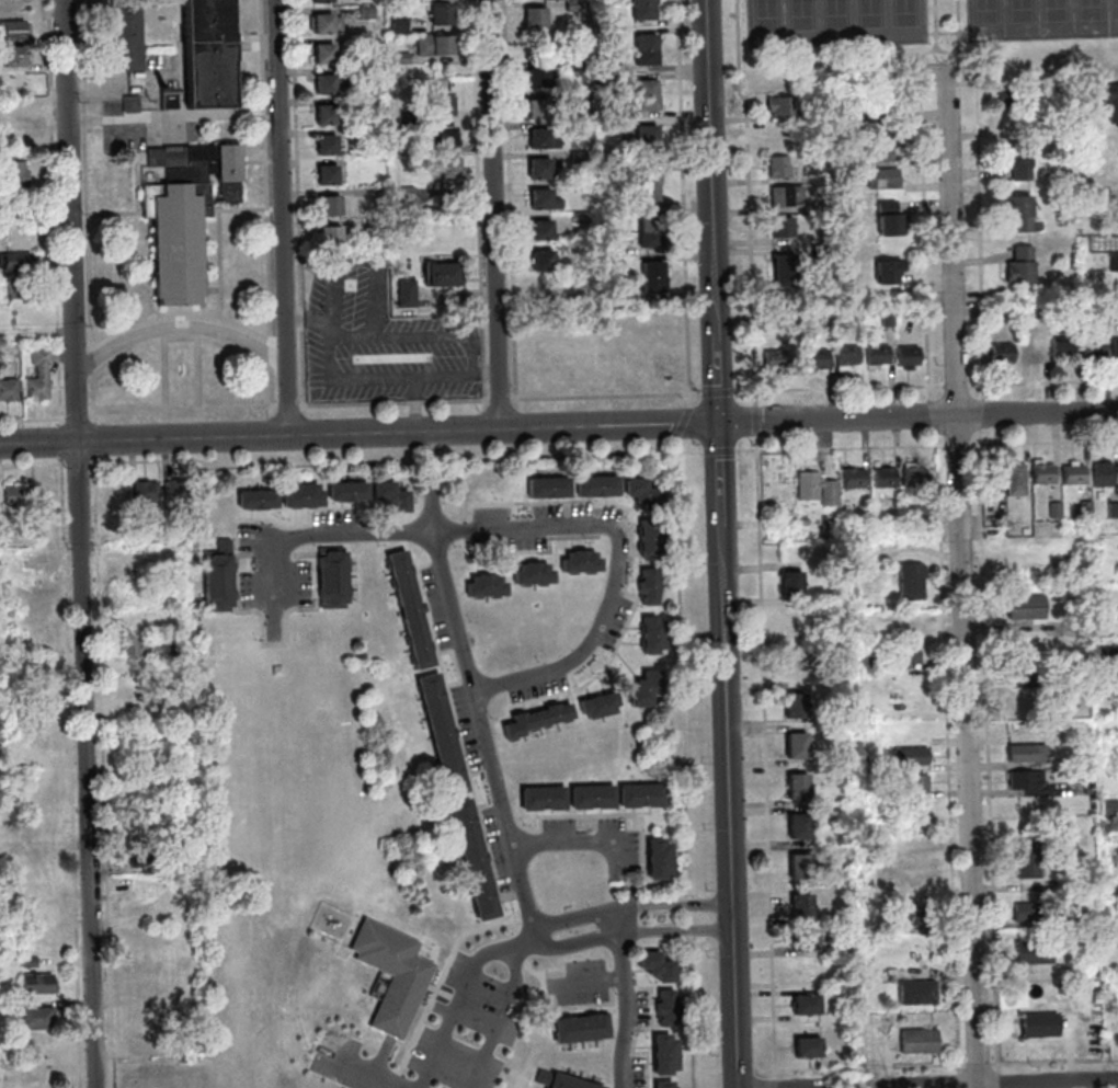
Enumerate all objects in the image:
building: (324, 2)
building: (646, 2)
building: (575, 7)
building: (369, 13)
building: (647, 13)
building: (444, 15)
building: (537, 18)
park: (1040, 19)
park: (833, 23)
building: (329, 25)
building: (401, 25)
building: (389, 30)
building: (15, 31)
road: (945, 32)
building: (127, 41)
park: (927, 41)
building: (369, 43)
building: (648, 43)
building: (437, 47)
road: (946, 50)
building: (212, 55)
building: (327, 55)
building: (16, 58)
building: (649, 58)
building: (403, 59)
building: (578, 66)
building: (609, 67)
road: (948, 73)
building: (372, 75)
parking lot: (948, 75)
building: (543, 80)
building: (612, 81)
building: (331, 84)
road: (947, 85)
building: (649, 89)
chimney: (168, 93)
building: (579, 96)
building: (1012, 99)
building: (172, 102)
building: (887, 102)
building: (1114, 102)
building: (374, 103)
building: (133, 104)
building: (650, 104)
building: (785, 106)
building: (445, 107)
building: (543, 111)
building: (613, 112)
building: (329, 116)
road: (212, 118)
building: (856, 119)
road: (129, 121)
building: (408, 121)
building: (613, 126)
building: (578, 128)
building: (649, 135)
building: (447, 138)
building: (544, 140)
building: (330, 146)
road: (714, 146)
building: (649, 149)
building: (890, 152)
building: (581, 158)
building: (613, 158)
building: (1020, 162)
building: (782, 168)
building: (453, 169)
building: (541, 170)
building: (194, 174)
building: (330, 176)
building: (18, 179)
building: (886, 179)
building: (649, 180)
building: (650, 195)
building: (789, 195)
building: (408, 197)
road: (480, 201)
road: (512, 201)
building: (546, 201)
road: (751, 202)
road: (299, 203)
road: (685, 204)
road: (269, 208)
building: (332, 208)
building: (823, 208)
road: (89, 213)
road: (56, 214)
building: (1022, 214)
road: (495, 215)
road: (284, 217)
road: (978, 217)
building: (582, 218)
road: (923, 219)
building: (890, 220)
building: (651, 226)
building: (376, 227)
building: (784, 228)
building: (4, 231)
building: (544, 231)
building: (333, 238)
building: (652, 241)
building: (181, 248)
building: (824, 252)
building: (545, 262)
building: (20, 263)
building: (1116, 264)
building: (1023, 267)
building: (655, 271)
building: (786, 273)
building: (890, 273)
building: (446, 276)
road: (379, 279)
building: (544, 286)
building: (16, 287)
building: (655, 287)
building: (410, 295)
building: (1107, 308)
building: (889, 318)
building: (830, 319)
road: (182, 328)
road: (353, 339)
parking lot: (381, 340)
building: (1095, 347)
building: (1031, 348)
building: (1064, 348)
building: (1116, 348)
building: (1004, 355)
building: (879, 357)
road: (719, 358)
building: (848, 358)
building: (910, 358)
building: (777, 360)
building: (819, 360)
building: (42, 377)
road: (396, 379)
road: (1042, 383)
road: (955, 385)
road: (840, 389)
building: (10, 391)
road: (720, 392)
road: (607, 397)
road: (501, 401)
road: (397, 403)
road: (290, 406)
road: (929, 409)
road: (185, 411)
road: (758, 414)
road: (982, 414)
road: (79, 417)
road: (33, 421)
traffic signals: (721, 423)
road: (685, 424)
road: (276, 426)
road: (558, 427)
road: (96, 440)
road: (64, 443)
road: (1045, 443)
road: (960, 446)
road: (843, 448)
road: (721, 453)
road: (574, 456)
road: (435, 460)
road: (80, 463)
road: (34, 465)
road: (260, 465)
building: (1045, 474)
building: (1076, 474)
building: (1105, 476)
building: (916, 477)
building: (778, 479)
building: (886, 479)
building: (856, 480)
building: (995, 482)
building: (1019, 482)
building: (609, 488)
building: (590, 489)
building: (540, 490)
building: (560, 490)
building: (819, 490)
building: (638, 491)
building: (387, 492)
building: (148, 493)
building: (342, 493)
building: (362, 493)
building: (180, 495)
building: (19, 496)
road: (722, 496)
building: (315, 497)
building: (297, 499)
building: (251, 502)
building: (271, 502)
building: (653, 502)
building: (403, 504)
building: (1088, 509)
building: (1058, 512)
building: (1115, 512)
building: (652, 532)
building: (1028, 532)
road: (323, 537)
road: (82, 543)
building: (1015, 546)
building: (652, 550)
building: (592, 563)
building: (334, 564)
building: (573, 564)
road: (619, 564)
building: (526, 576)
building: (544, 576)
building: (221, 579)
road: (965, 580)
building: (650, 581)
building: (913, 584)
building: (795, 586)
building: (480, 588)
building: (499, 588)
building: (335, 594)
building: (650, 598)
building: (1029, 609)
building: (34, 611)
building: (413, 612)
building: (795, 628)
building: (654, 629)
building: (654, 646)
building: (139, 648)
building: (180, 648)
building: (909, 655)
building: (1108, 655)
building: (796, 668)
building: (39, 669)
building: (1024, 679)
building: (1075, 679)
building: (653, 684)
road: (471, 688)
building: (642, 698)
building: (611, 706)
building: (798, 709)
building: (593, 710)
building: (566, 714)
building: (549, 719)
building: (533, 723)
building: (517, 731)
building: (445, 737)
building: (799, 748)
road: (729, 749)
road: (990, 753)
building: (1030, 756)
building: (913, 758)
road: (688, 764)
road: (105, 771)
road: (75, 772)
building: (1028, 781)
building: (917, 786)
building: (800, 789)
building: (654, 798)
building: (634, 799)
building: (605, 800)
building: (556, 801)
building: (584, 801)
building: (534, 802)
building: (1111, 810)
building: (151, 812)
building: (801, 829)
road: (578, 840)
building: (661, 852)
building: (146, 860)
building: (913, 860)
building: (477, 861)
building: (1029, 862)
building: (802, 870)
building: (662, 872)
building: (803, 909)
road: (590, 914)
building: (1030, 914)
building: (919, 918)
building: (1082, 920)
road: (677, 930)
building: (807, 944)
road: (510, 951)
building: (1036, 953)
building: (31, 963)
building: (806, 967)
road: (516, 969)
building: (660, 970)
building: (395, 977)
road: (586, 981)
building: (41, 985)
building: (920, 995)
road: (624, 997)
building: (668, 1001)
road: (737, 1008)
building: (809, 1008)
building: (39, 1020)
building: (669, 1020)
road: (448, 1023)
building: (1042, 1028)
building: (583, 1032)
road: (493, 1038)
building: (921, 1044)
building: (668, 1049)
building: (810, 1051)
road: (1054, 1062)
road: (980, 1066)
road: (364, 1067)
building: (668, 1068)
road: (862, 1068)
road: (961, 1070)
road: (711, 1073)
road: (740, 1073)
road: (777, 1076)
building: (559, 1081)
road: (961, 1081)
road: (1001, 1081)
road: (777, 1084)
road: (1000, 1084)
building: (666, 1086)

